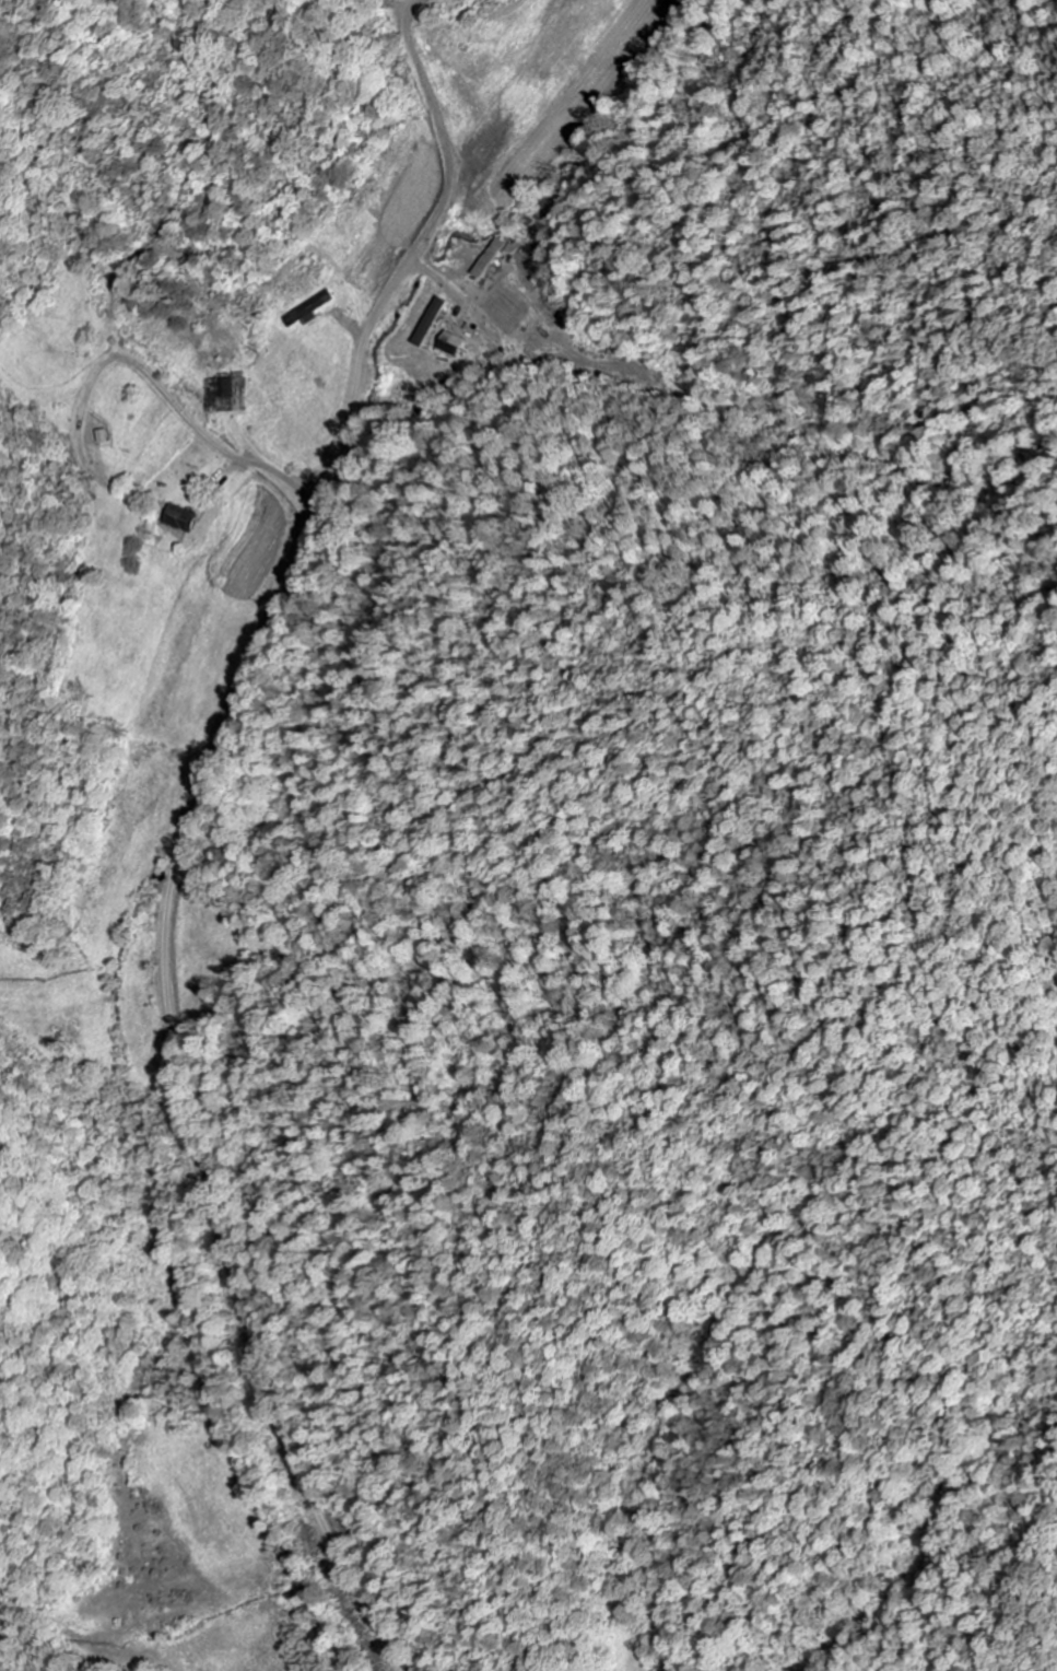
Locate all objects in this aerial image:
building: (310, 311)
building: (434, 322)
building: (450, 346)
building: (230, 389)
building: (187, 518)
road: (178, 1088)

